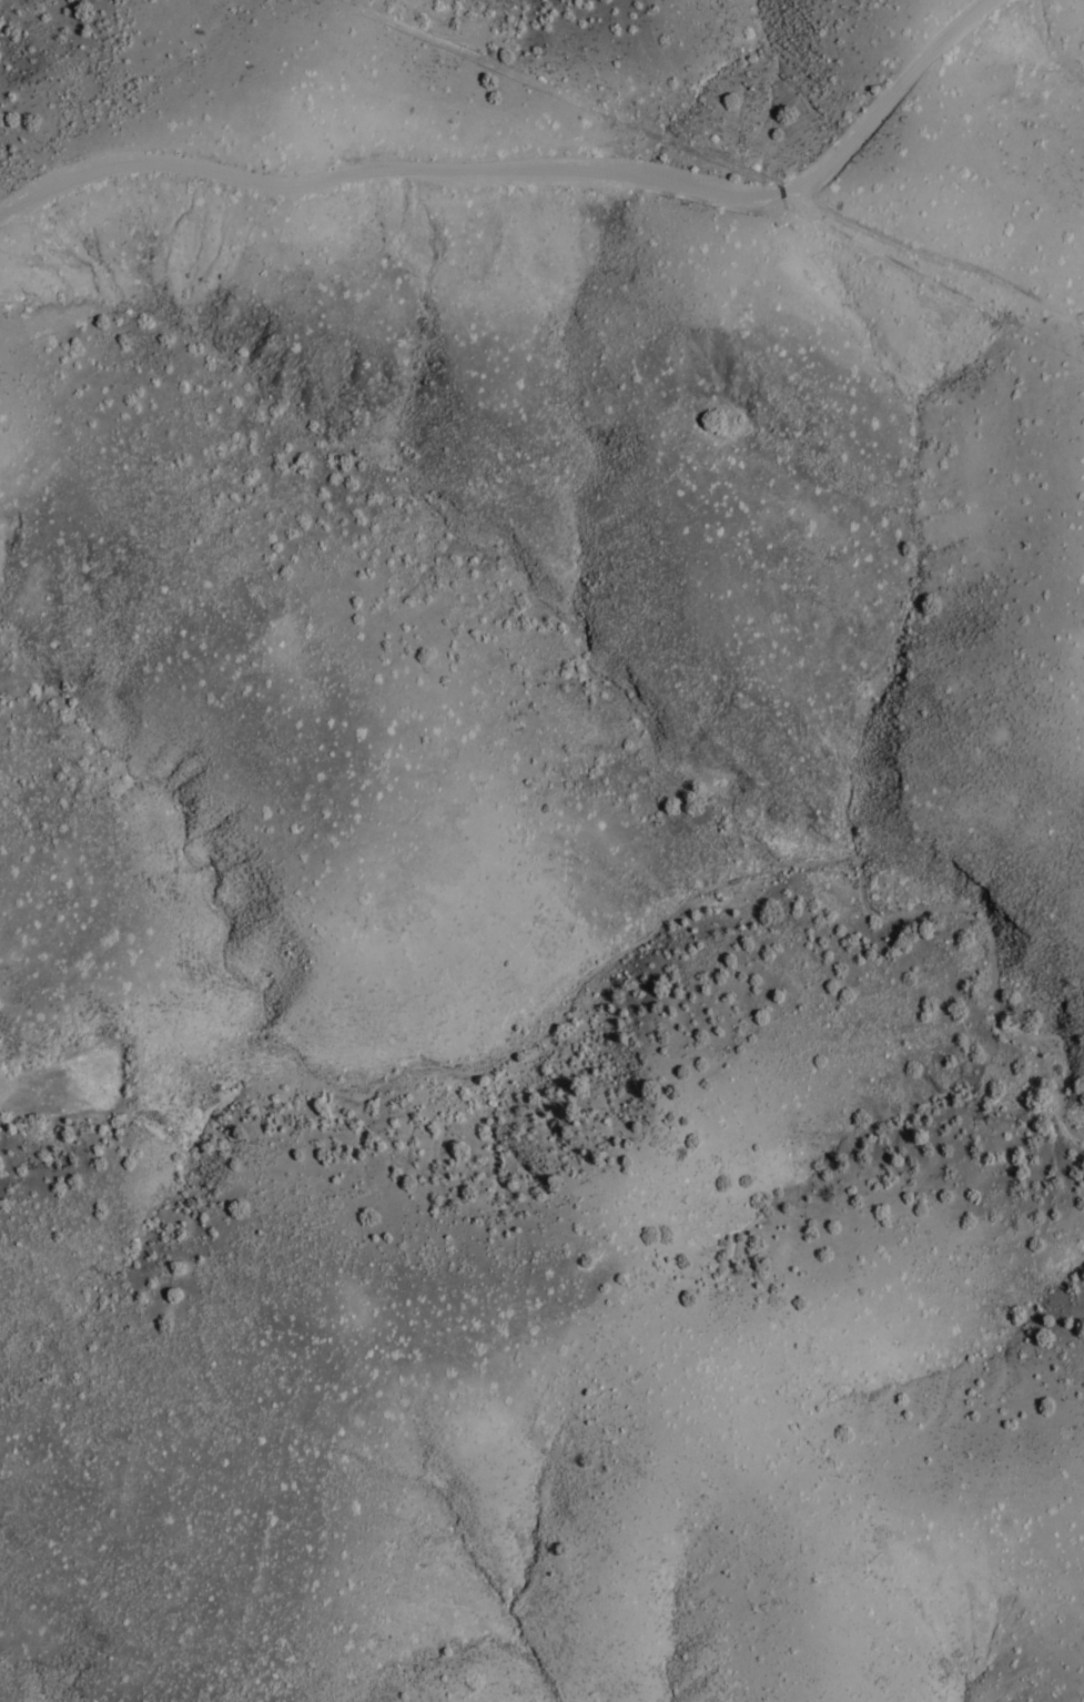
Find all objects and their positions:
road: (528, 164)

